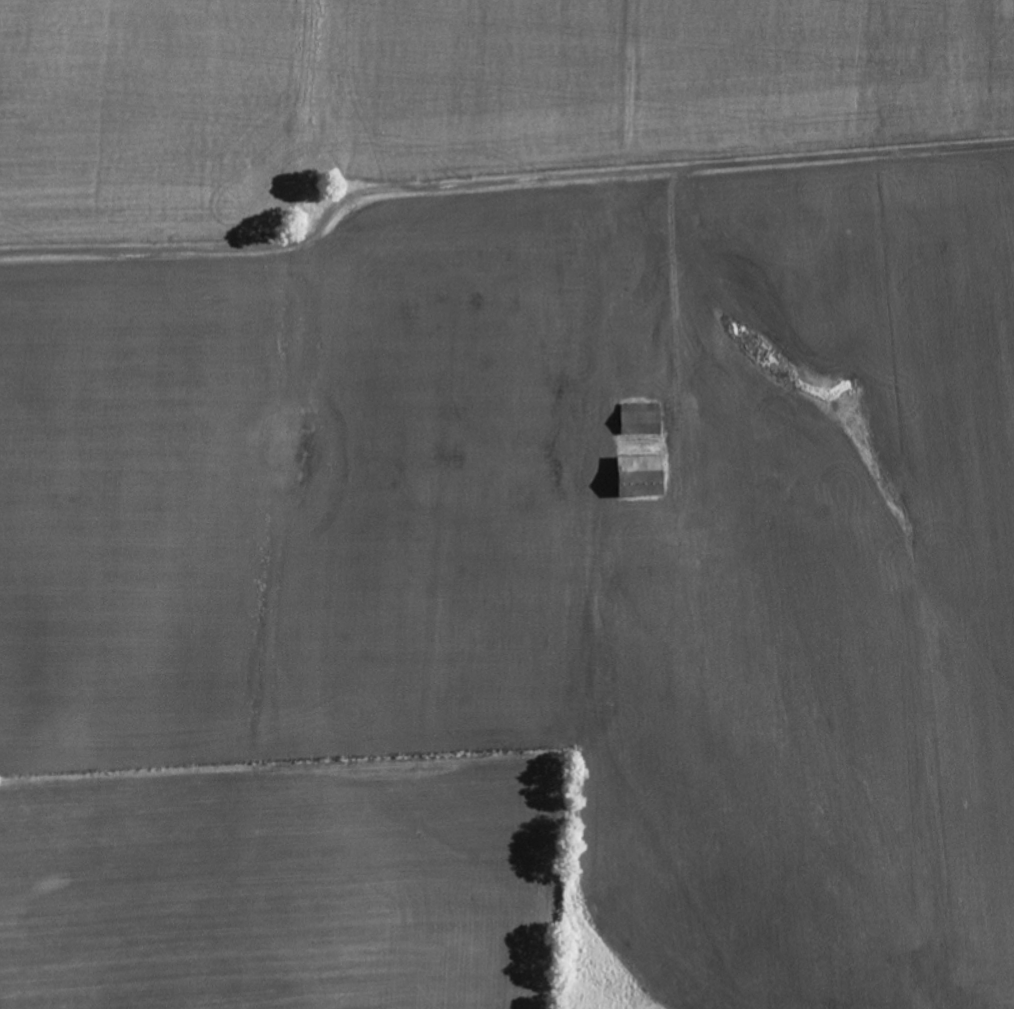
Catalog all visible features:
road: (498, 179)
road: (675, 281)
building: (640, 418)
building: (639, 476)

